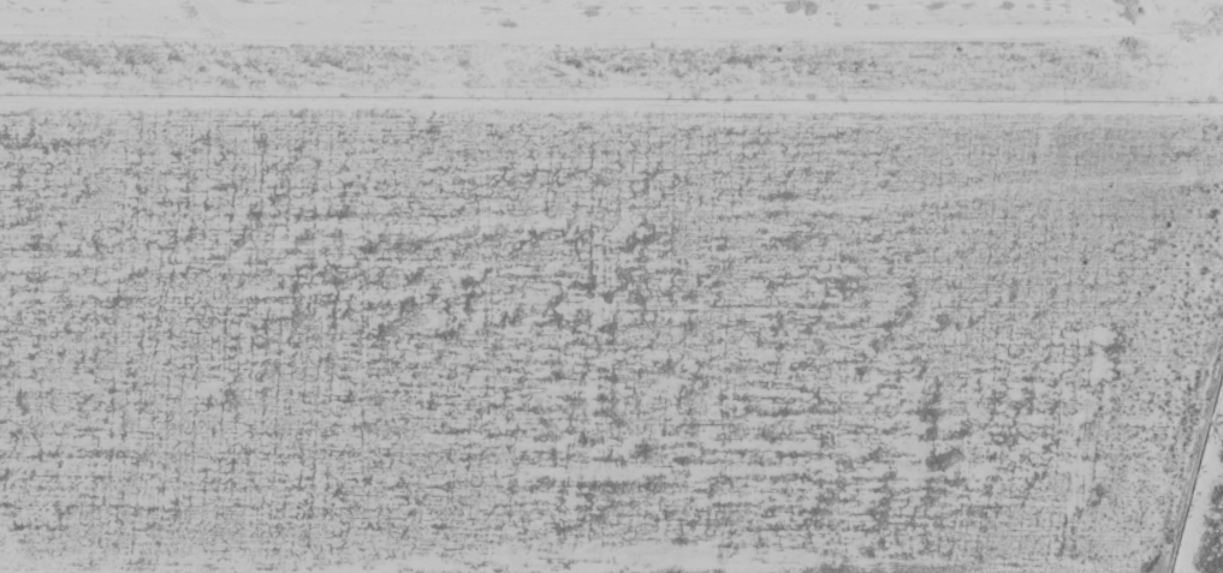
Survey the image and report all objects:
road: (611, 19)

